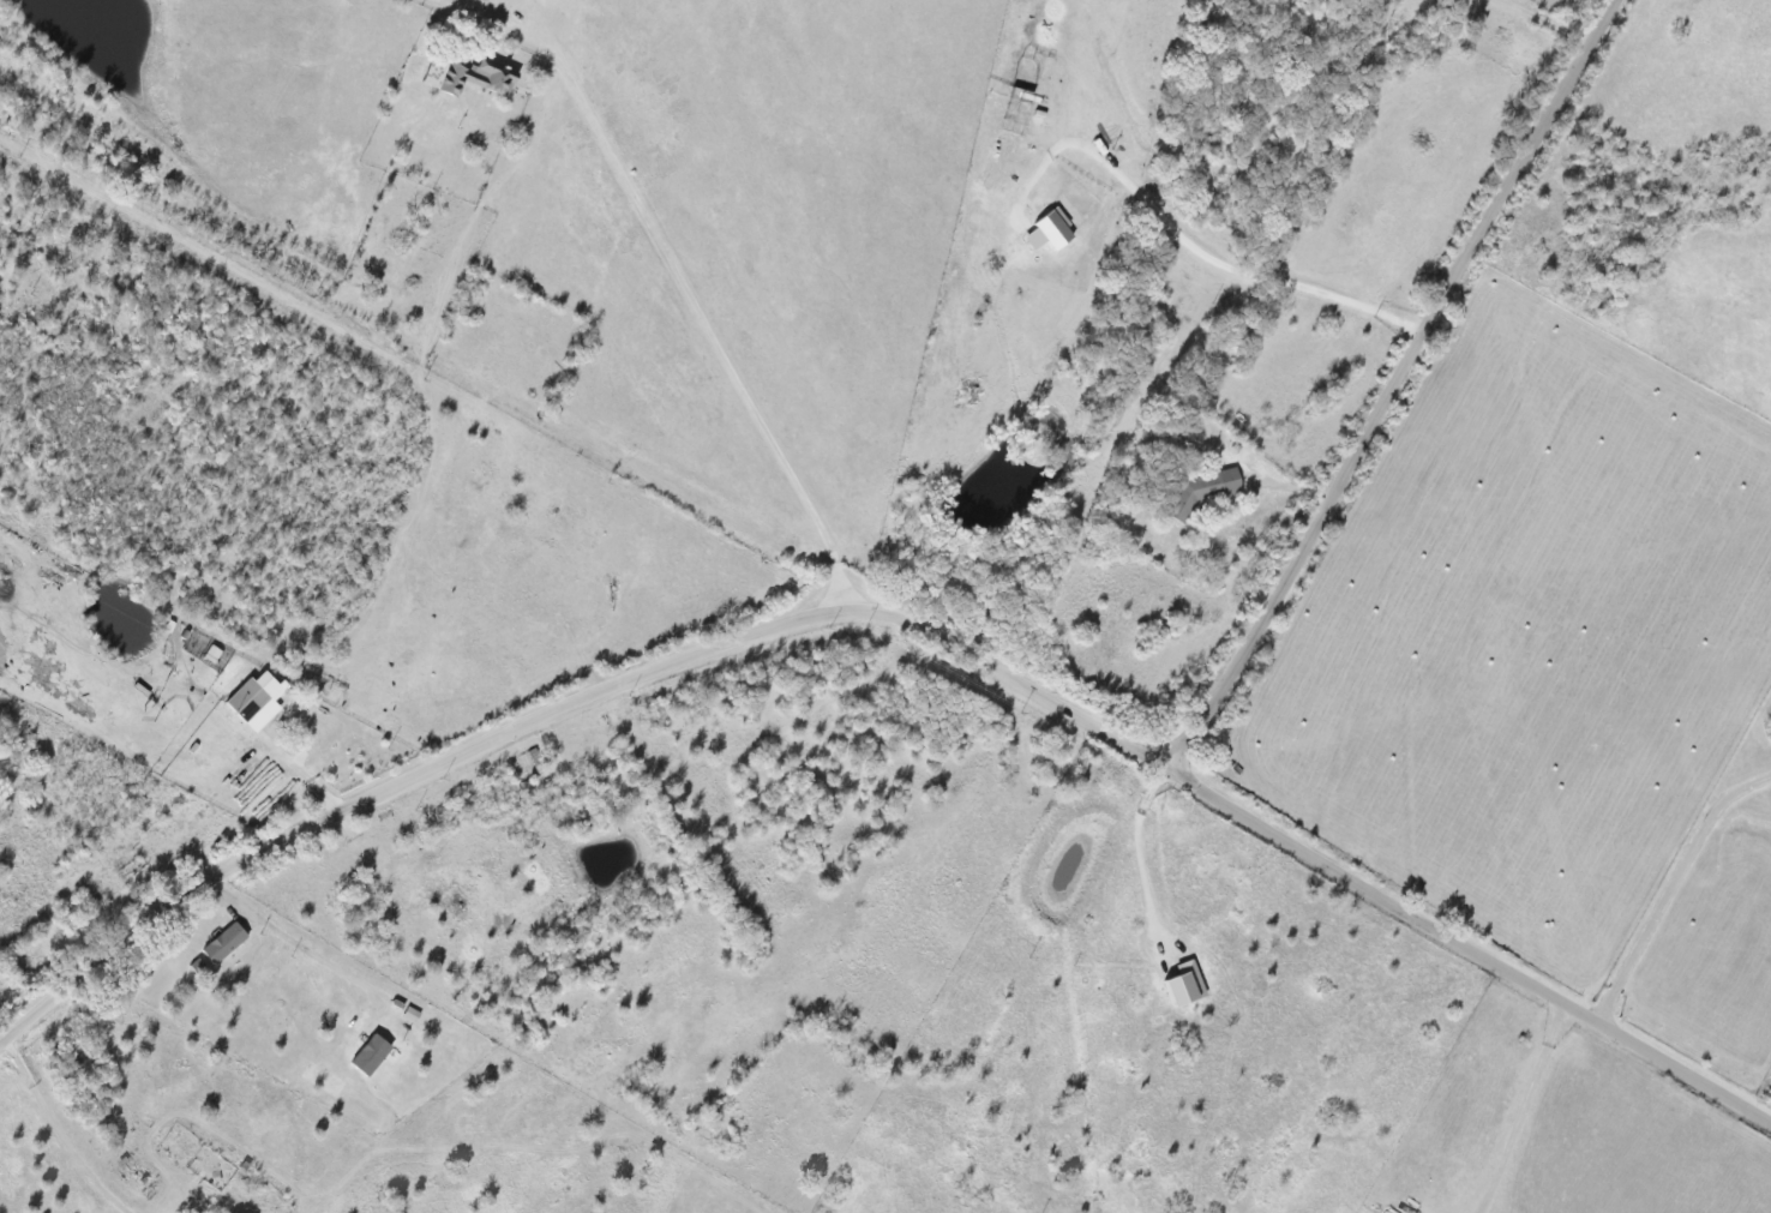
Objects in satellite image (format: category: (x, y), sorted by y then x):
building: (469, 76)
building: (1051, 230)
road: (1201, 266)
road: (743, 344)
road: (1399, 396)
building: (1203, 491)
road: (817, 605)
building: (214, 653)
building: (253, 704)
road: (408, 781)
road: (1317, 871)
road: (1113, 890)
road: (1669, 897)
road: (296, 937)
building: (226, 943)
building: (1187, 985)
building: (372, 1055)
road: (1525, 1115)
road: (53, 1131)

